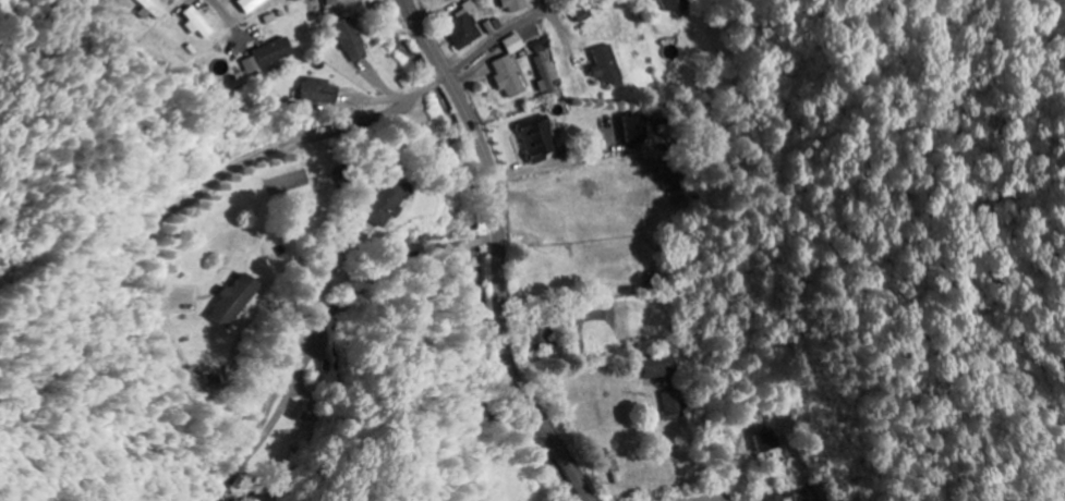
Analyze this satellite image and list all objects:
building: (254, 4)
building: (677, 4)
building: (517, 5)
building: (160, 9)
road: (229, 11)
building: (204, 22)
building: (463, 27)
road: (506, 30)
building: (352, 40)
road: (568, 41)
building: (516, 44)
building: (544, 46)
building: (273, 54)
building: (610, 66)
building: (548, 75)
building: (509, 76)
building: (324, 91)
building: (639, 129)
building: (540, 139)
road: (269, 154)
building: (386, 203)
road: (500, 252)
building: (238, 300)
road: (327, 325)
building: (661, 366)
building: (676, 405)
building: (304, 411)
building: (769, 441)
building: (777, 497)
road: (714, 499)

